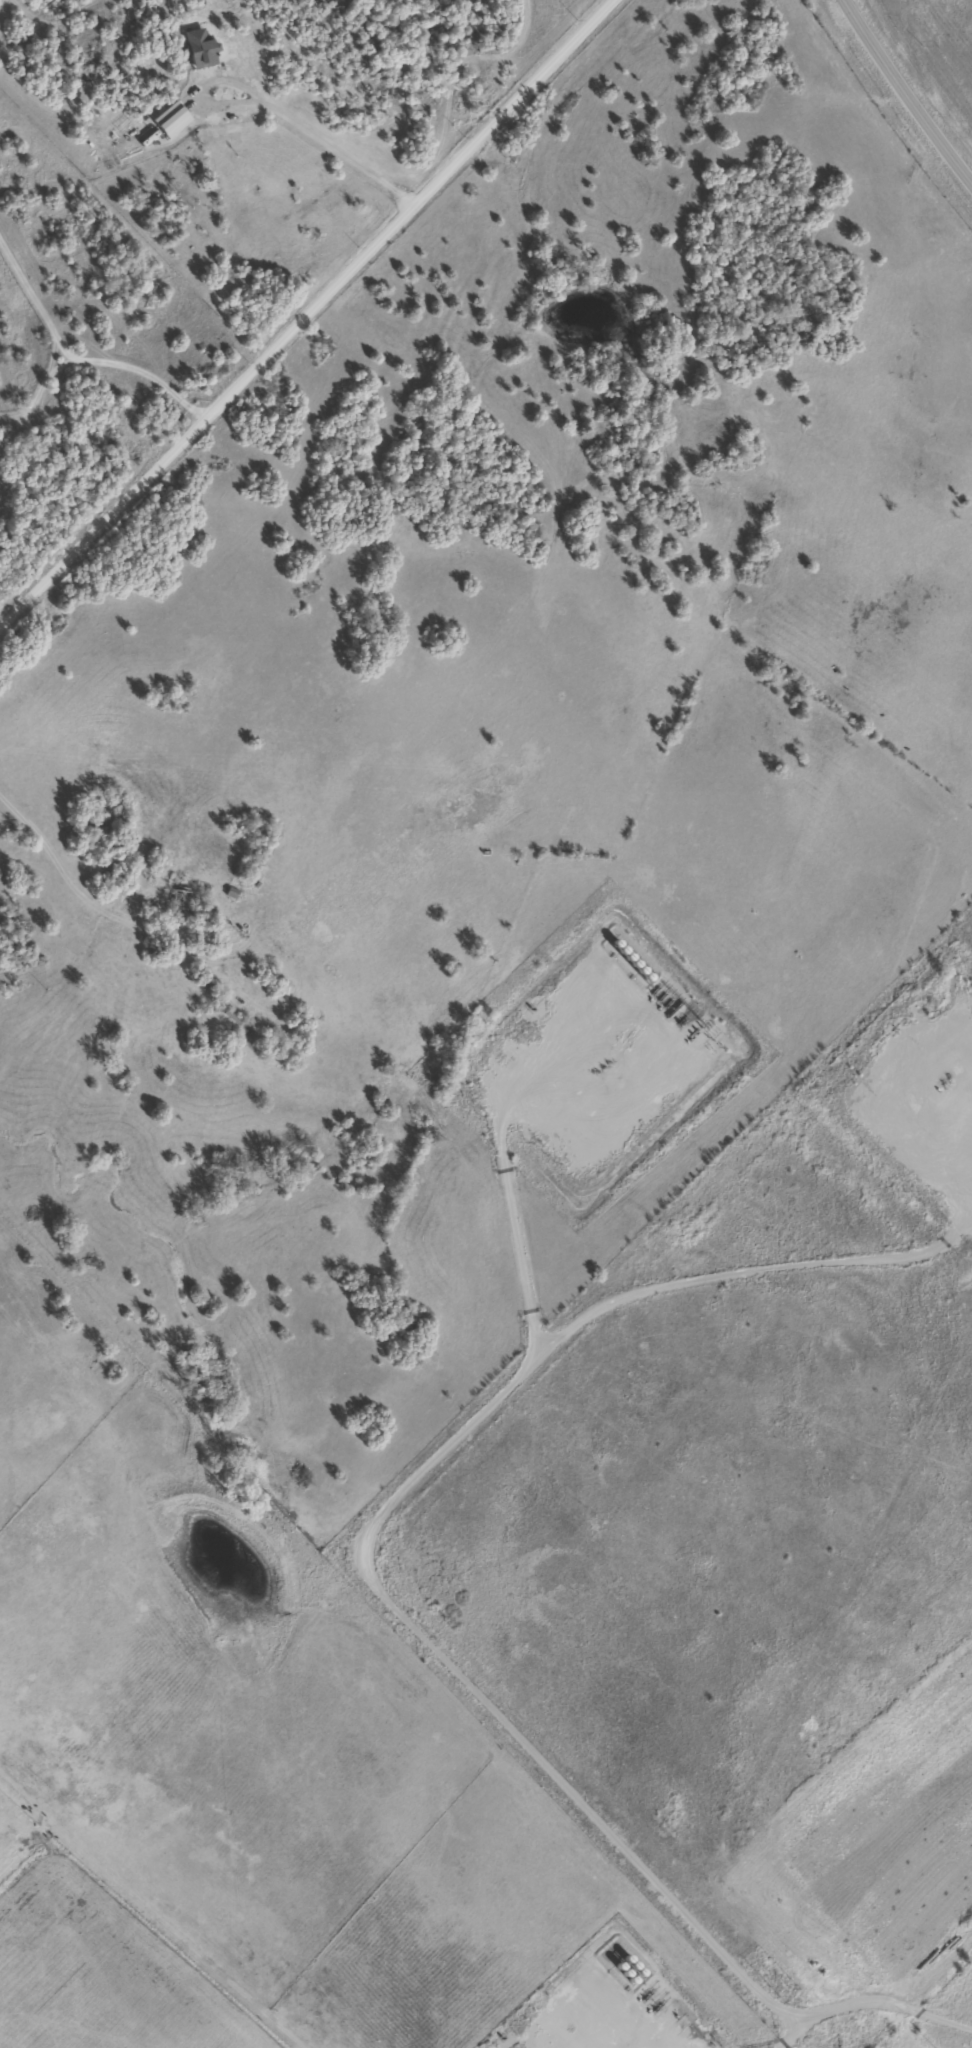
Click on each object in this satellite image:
road: (904, 94)
road: (301, 311)
building: (179, 899)
road: (507, 1155)
road: (459, 1457)
road: (879, 1996)

